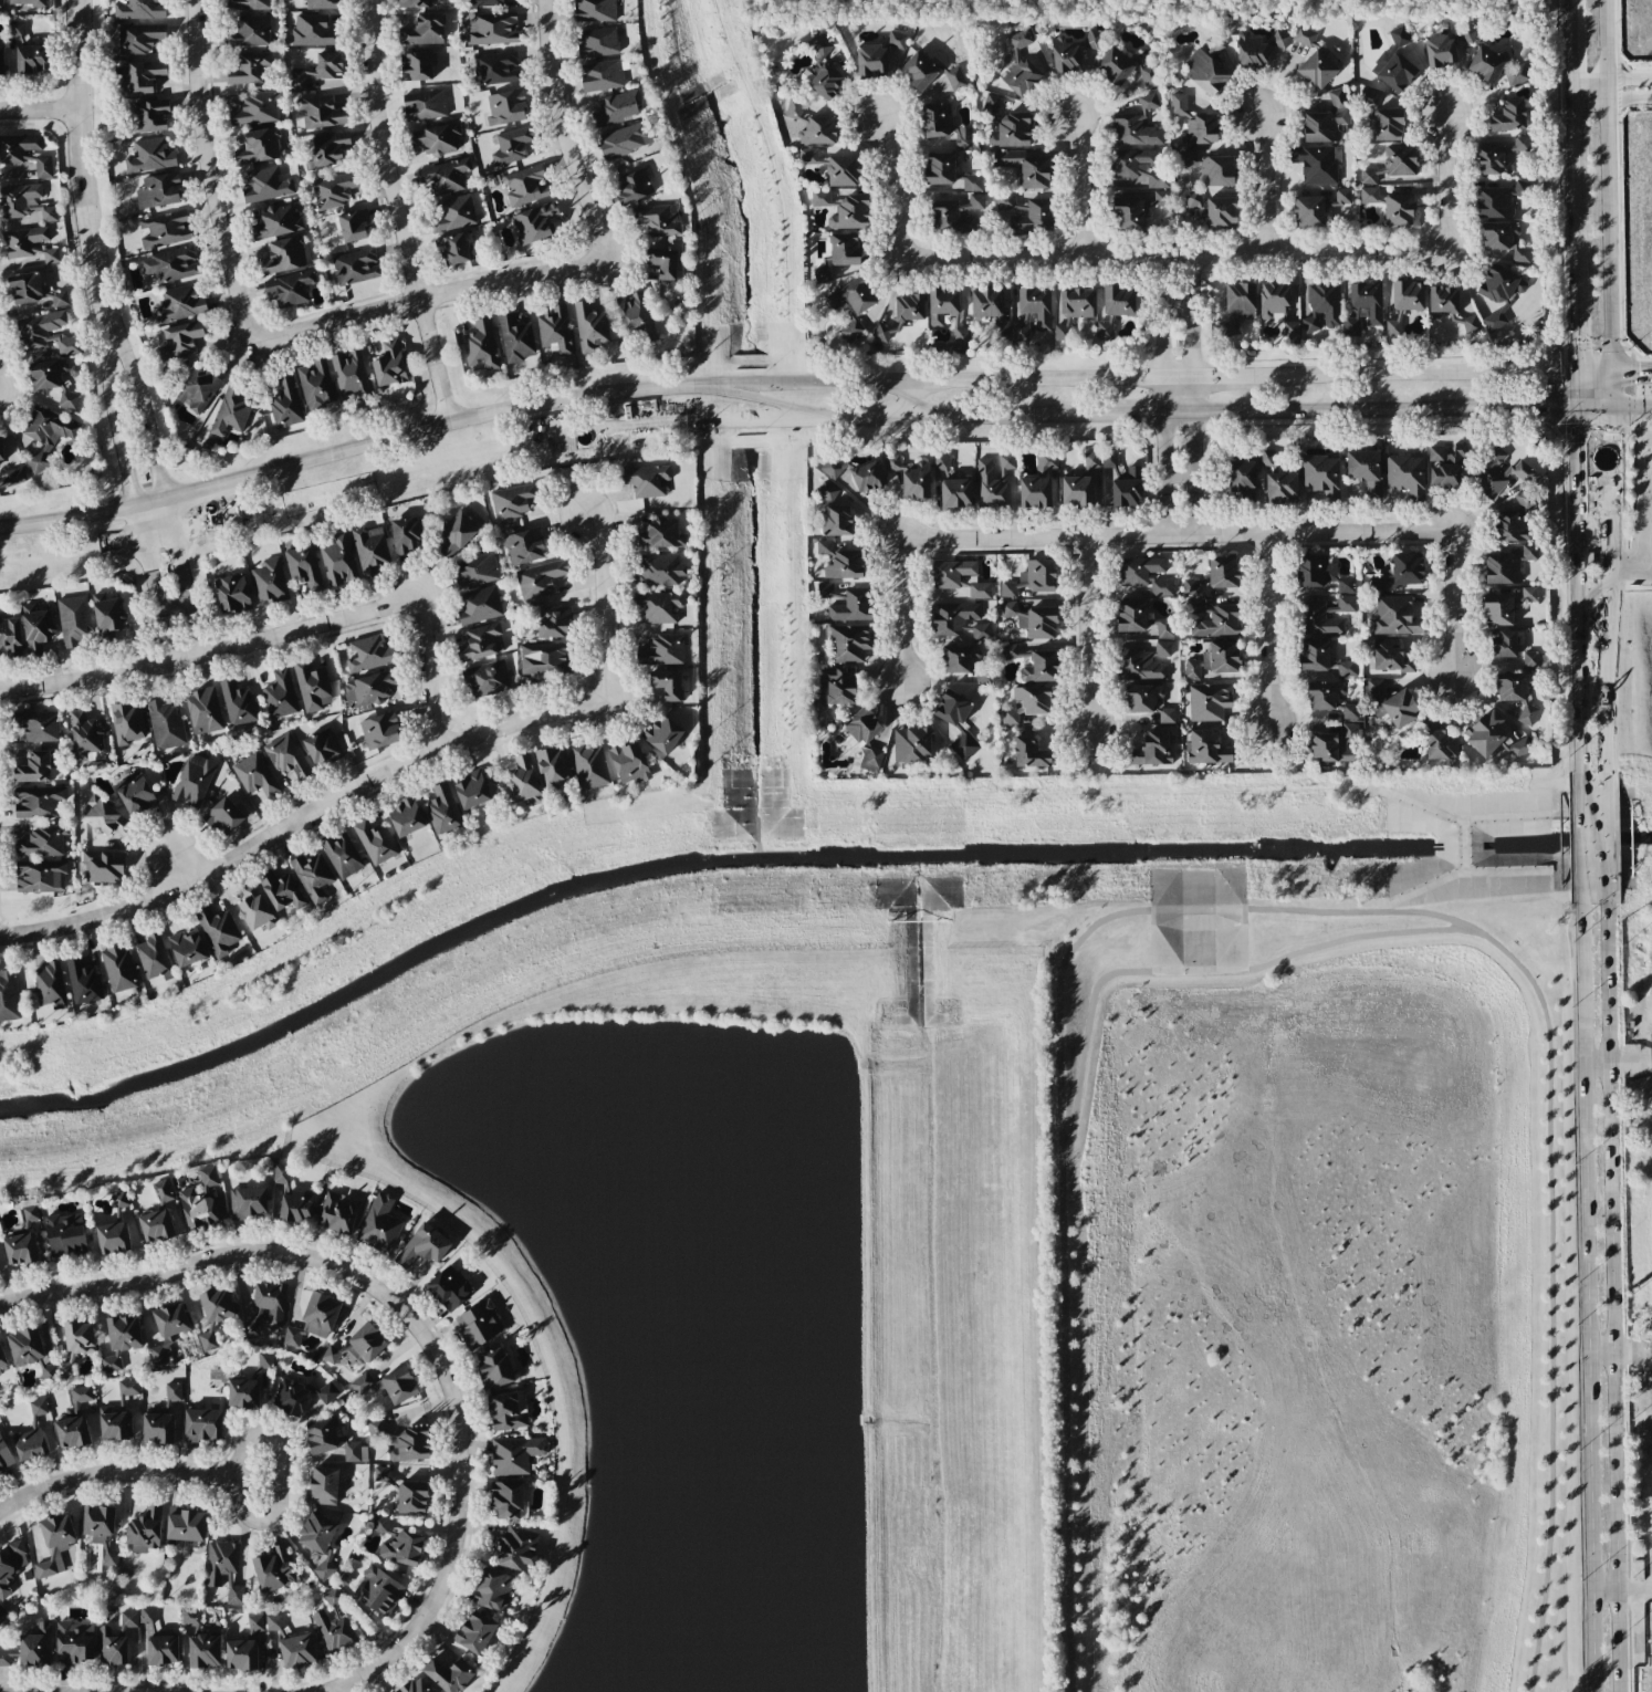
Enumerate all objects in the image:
building: (27, 2)
building: (483, 3)
building: (1, 4)
building: (248, 4)
building: (322, 4)
building: (139, 10)
building: (594, 10)
building: (15, 29)
building: (493, 29)
building: (425, 30)
building: (313, 31)
building: (1465, 34)
building: (1304, 35)
building: (139, 38)
building: (1092, 39)
building: (1279, 39)
building: (897, 40)
building: (597, 42)
road: (1568, 44)
building: (1251, 50)
building: (1440, 51)
building: (1, 55)
building: (1066, 56)
building: (32, 59)
building: (871, 60)
building: (1394, 63)
building: (327, 65)
building: (417, 66)
building: (1494, 66)
building: (249, 67)
building: (1127, 67)
building: (496, 69)
building: (1020, 69)
building: (1317, 70)
building: (824, 71)
building: (919, 71)
building: (1204, 72)
building: (602, 75)
building: (140, 76)
building: (954, 77)
building: (296, 79)
road: (1618, 87)
road: (1611, 88)
road: (1587, 90)
building: (992, 104)
building: (425, 105)
building: (1180, 106)
building: (1369, 106)
building: (506, 107)
building: (255, 108)
building: (794, 108)
building: (615, 109)
road: (40, 112)
building: (321, 112)
building: (149, 115)
building: (1508, 116)
building: (1327, 119)
building: (943, 125)
building: (1388, 125)
building: (1137, 126)
building: (1201, 129)
road: (564, 130)
building: (818, 130)
building: (1011, 130)
building: (436, 138)
building: (625, 140)
building: (1518, 144)
building: (511, 145)
building: (259, 146)
building: (328, 147)
building: (18, 148)
building: (150, 156)
building: (808, 156)
building: (1189, 158)
building: (1400, 160)
building: (1491, 160)
road: (84, 161)
building: (1316, 164)
building: (43, 166)
building: (1024, 167)
building: (940, 168)
building: (1138, 168)
road: (210, 170)
building: (843, 170)
building: (1217, 171)
building: (445, 176)
building: (1369, 176)
building: (972, 182)
road: (1085, 182)
road: (1264, 182)
road: (1446, 182)
road: (1570, 182)
building: (265, 185)
road: (895, 185)
road: (1608, 185)
building: (524, 186)
building: (631, 188)
building: (334, 189)
building: (158, 190)
building: (1369, 195)
building: (1342, 196)
building: (820, 198)
building: (1499, 199)
building: (1004, 200)
building: (976, 201)
building: (25, 205)
building: (1213, 209)
building: (1399, 209)
building: (1136, 210)
road: (397, 211)
building: (1308, 211)
building: (452, 213)
building: (850, 213)
building: (950, 217)
building: (1034, 217)
building: (658, 219)
building: (276, 222)
building: (534, 222)
building: (353, 226)
building: (165, 230)
building: (1504, 240)
building: (31, 244)
building: (452, 249)
building: (845, 249)
building: (285, 255)
road: (1173, 257)
building: (663, 260)
building: (171, 264)
building: (356, 267)
building: (824, 270)
building: (1499, 284)
building: (289, 288)
building: (33, 292)
road: (425, 297)
building: (1118, 301)
building: (1404, 302)
building: (1442, 302)
building: (986, 303)
building: (179, 304)
building: (1236, 305)
building: (1322, 305)
building: (851, 306)
building: (1276, 306)
building: (1363, 306)
building: (1073, 310)
building: (945, 311)
building: (1032, 312)
building: (901, 314)
road: (1159, 317)
building: (634, 318)
building: (1494, 321)
building: (1470, 324)
building: (590, 326)
building: (554, 330)
building: (1105, 330)
road: (1192, 334)
building: (515, 338)
traffic signals: (1572, 338)
building: (180, 340)
road: (1572, 341)
building: (481, 345)
building: (389, 364)
road: (1612, 369)
traffic signals: (1641, 369)
road: (1421, 373)
building: (349, 374)
road: (1230, 377)
road: (1175, 378)
building: (54, 379)
road: (1012, 379)
road: (775, 384)
building: (315, 385)
building: (198, 389)
road: (911, 399)
building: (285, 404)
road: (1559, 406)
road: (1632, 406)
road: (797, 407)
traffic signals: (1549, 407)
road: (140, 408)
road: (1349, 409)
building: (230, 411)
road: (1131, 412)
road: (1177, 412)
road: (114, 415)
road: (1006, 415)
traffic signals: (1612, 434)
road: (1649, 436)
building: (45, 437)
building: (209, 441)
road: (341, 450)
building: (0, 451)
road: (1161, 458)
building: (1267, 458)
building: (1109, 459)
building: (1046, 460)
building: (1091, 460)
building: (941, 462)
building: (833, 466)
building: (1445, 466)
road: (1611, 468)
building: (1365, 470)
building: (1501, 472)
building: (1241, 473)
building: (1321, 474)
building: (1405, 474)
road: (1192, 476)
building: (867, 477)
building: (911, 477)
building: (12, 478)
building: (645, 480)
building: (993, 481)
road: (1646, 484)
building: (1280, 488)
building: (1127, 489)
building: (1077, 491)
building: (1035, 492)
building: (956, 493)
building: (512, 501)
road: (1641, 501)
building: (1526, 503)
building: (837, 521)
building: (1512, 526)
building: (457, 533)
building: (660, 534)
building: (406, 535)
road: (1175, 539)
building: (524, 546)
building: (824, 547)
building: (370, 551)
building: (1528, 551)
building: (338, 561)
building: (845, 565)
building: (304, 566)
road: (1633, 567)
building: (1502, 568)
building: (1407, 570)
building: (475, 571)
building: (657, 571)
building: (1139, 571)
building: (1316, 571)
building: (1223, 572)
building: (951, 573)
building: (540, 578)
building: (1032, 578)
road: (185, 581)
building: (269, 582)
building: (1345, 585)
building: (1161, 587)
building: (1191, 587)
road: (150, 588)
building: (825, 589)
building: (980, 591)
road: (1575, 591)
building: (232, 593)
building: (1528, 594)
building: (1193, 604)
building: (479, 605)
building: (1343, 605)
building: (659, 606)
building: (853, 606)
road: (1452, 607)
building: (1497, 609)
road: (596, 610)
road: (902, 615)
building: (107, 616)
building: (1131, 616)
building: (1395, 616)
building: (960, 620)
building: (1033, 620)
building: (1319, 620)
building: (74, 622)
building: (553, 622)
building: (1217, 623)
building: (1163, 627)
building: (35, 629)
road: (1087, 634)
road: (1271, 634)
building: (10, 636)
building: (481, 643)
building: (850, 643)
building: (1503, 644)
building: (662, 650)
building: (1010, 651)
building: (369, 654)
building: (1314, 655)
building: (1390, 656)
building: (959, 658)
building: (544, 659)
building: (1530, 659)
building: (1214, 660)
road: (209, 661)
building: (1144, 662)
building: (1042, 667)
building: (1346, 669)
road: (1604, 672)
road: (421, 677)
building: (487, 679)
building: (667, 683)
building: (312, 686)
building: (837, 686)
building: (368, 689)
building: (1517, 692)
building: (280, 694)
building: (1142, 698)
building: (1329, 698)
building: (1209, 701)
building: (237, 702)
building: (1028, 703)
building: (1390, 703)
building: (203, 711)
building: (1167, 716)
building: (127, 722)
building: (165, 724)
building: (38, 725)
building: (861, 725)
building: (380, 731)
building: (1487, 732)
building: (662, 734)
building: (85, 737)
building: (1441, 741)
building: (1336, 743)
building: (912, 744)
building: (322, 746)
building: (1206, 748)
building: (1519, 748)
building: (1151, 750)
building: (1029, 753)
building: (285, 756)
building: (870, 759)
building: (629, 762)
building: (553, 766)
building: (589, 766)
building: (34, 767)
building: (255, 775)
building: (523, 780)
building: (192, 781)
building: (471, 790)
building: (135, 794)
building: (36, 802)
building: (442, 810)
road: (294, 815)
building: (223, 816)
building: (105, 817)
building: (406, 817)
building: (42, 842)
building: (375, 842)
river: (799, 842)
road: (1591, 842)
building: (342, 855)
building: (103, 867)
road: (164, 867)
building: (312, 876)
building: (40, 878)
building: (281, 890)
building: (254, 908)
road: (1289, 910)
building: (217, 930)
building: (187, 949)
building: (153, 958)
building: (117, 968)
building: (82, 981)
building: (49, 985)
building: (8, 995)
road: (1631, 1062)
road: (1597, 1064)
building: (282, 1176)
building: (161, 1191)
building: (119, 1200)
building: (199, 1201)
building: (248, 1202)
building: (296, 1207)
building: (29, 1211)
building: (337, 1213)
building: (379, 1224)
building: (156, 1225)
building: (65, 1234)
building: (113, 1237)
building: (424, 1246)
building: (21, 1249)
road: (261, 1252)
building: (0, 1270)
building: (449, 1287)
park: (1313, 1295)
road: (1587, 1298)
road: (1612, 1298)
building: (271, 1302)
building: (215, 1314)
building: (321, 1314)
building: (170, 1320)
building: (252, 1324)
building: (479, 1324)
building: (79, 1337)
building: (292, 1337)
building: (121, 1340)
building: (366, 1343)
building: (25, 1346)
road: (1600, 1352)
building: (331, 1354)
building: (158, 1355)
building: (2, 1359)
building: (263, 1362)
building: (494, 1367)
building: (46, 1369)
building: (0, 1374)
building: (387, 1385)
building: (172, 1392)
building: (326, 1392)
building: (243, 1393)
road: (1650, 1393)
building: (82, 1395)
building: (291, 1398)
building: (38, 1407)
building: (508, 1410)
building: (118, 1413)
building: (202, 1424)
building: (158, 1429)
building: (72, 1432)
building: (322, 1435)
building: (401, 1441)
building: (30, 1444)
building: (351, 1449)
building: (514, 1454)
building: (4, 1456)
building: (381, 1473)
road: (279, 1474)
road: (114, 1475)
building: (324, 1485)
building: (412, 1497)
building: (508, 1500)
building: (185, 1524)
building: (100, 1529)
building: (144, 1531)
building: (318, 1540)
building: (54, 1543)
building: (398, 1543)
building: (517, 1548)
building: (11, 1565)
building: (274, 1568)
building: (223, 1570)
road: (443, 1578)
road: (1634, 1588)
building: (492, 1589)
road: (1604, 1589)
building: (378, 1590)
building: (147, 1617)
building: (191, 1618)
building: (128, 1620)
building: (254, 1621)
building: (274, 1622)
building: (333, 1623)
building: (475, 1632)
road: (1640, 1638)
building: (74, 1643)
building: (36, 1647)
building: (112, 1648)
building: (161, 1650)
building: (205, 1651)
building: (297, 1651)
building: (241, 1654)
building: (4, 1659)
building: (448, 1674)
building: (415, 1686)

